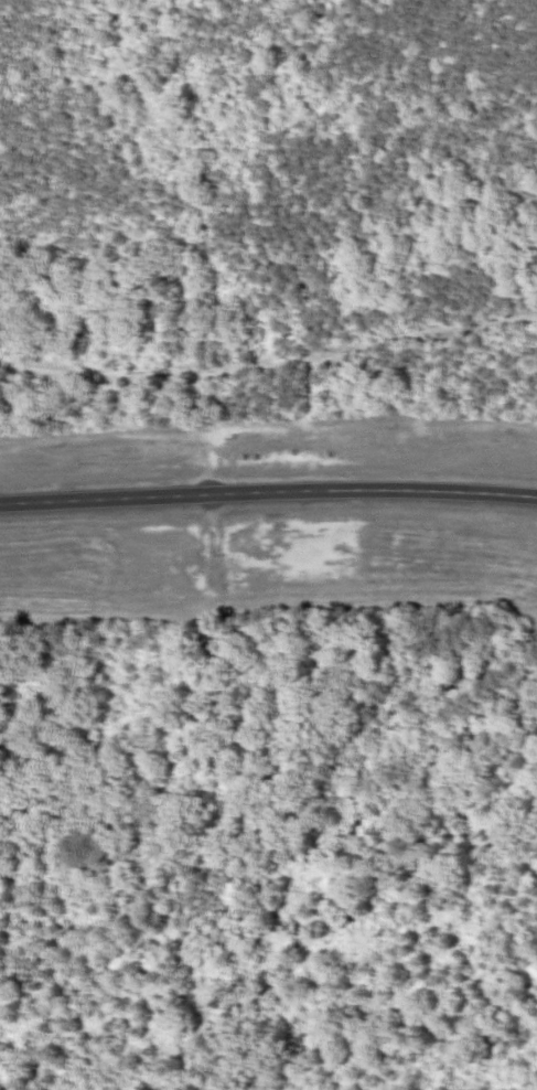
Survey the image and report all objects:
road: (268, 490)

